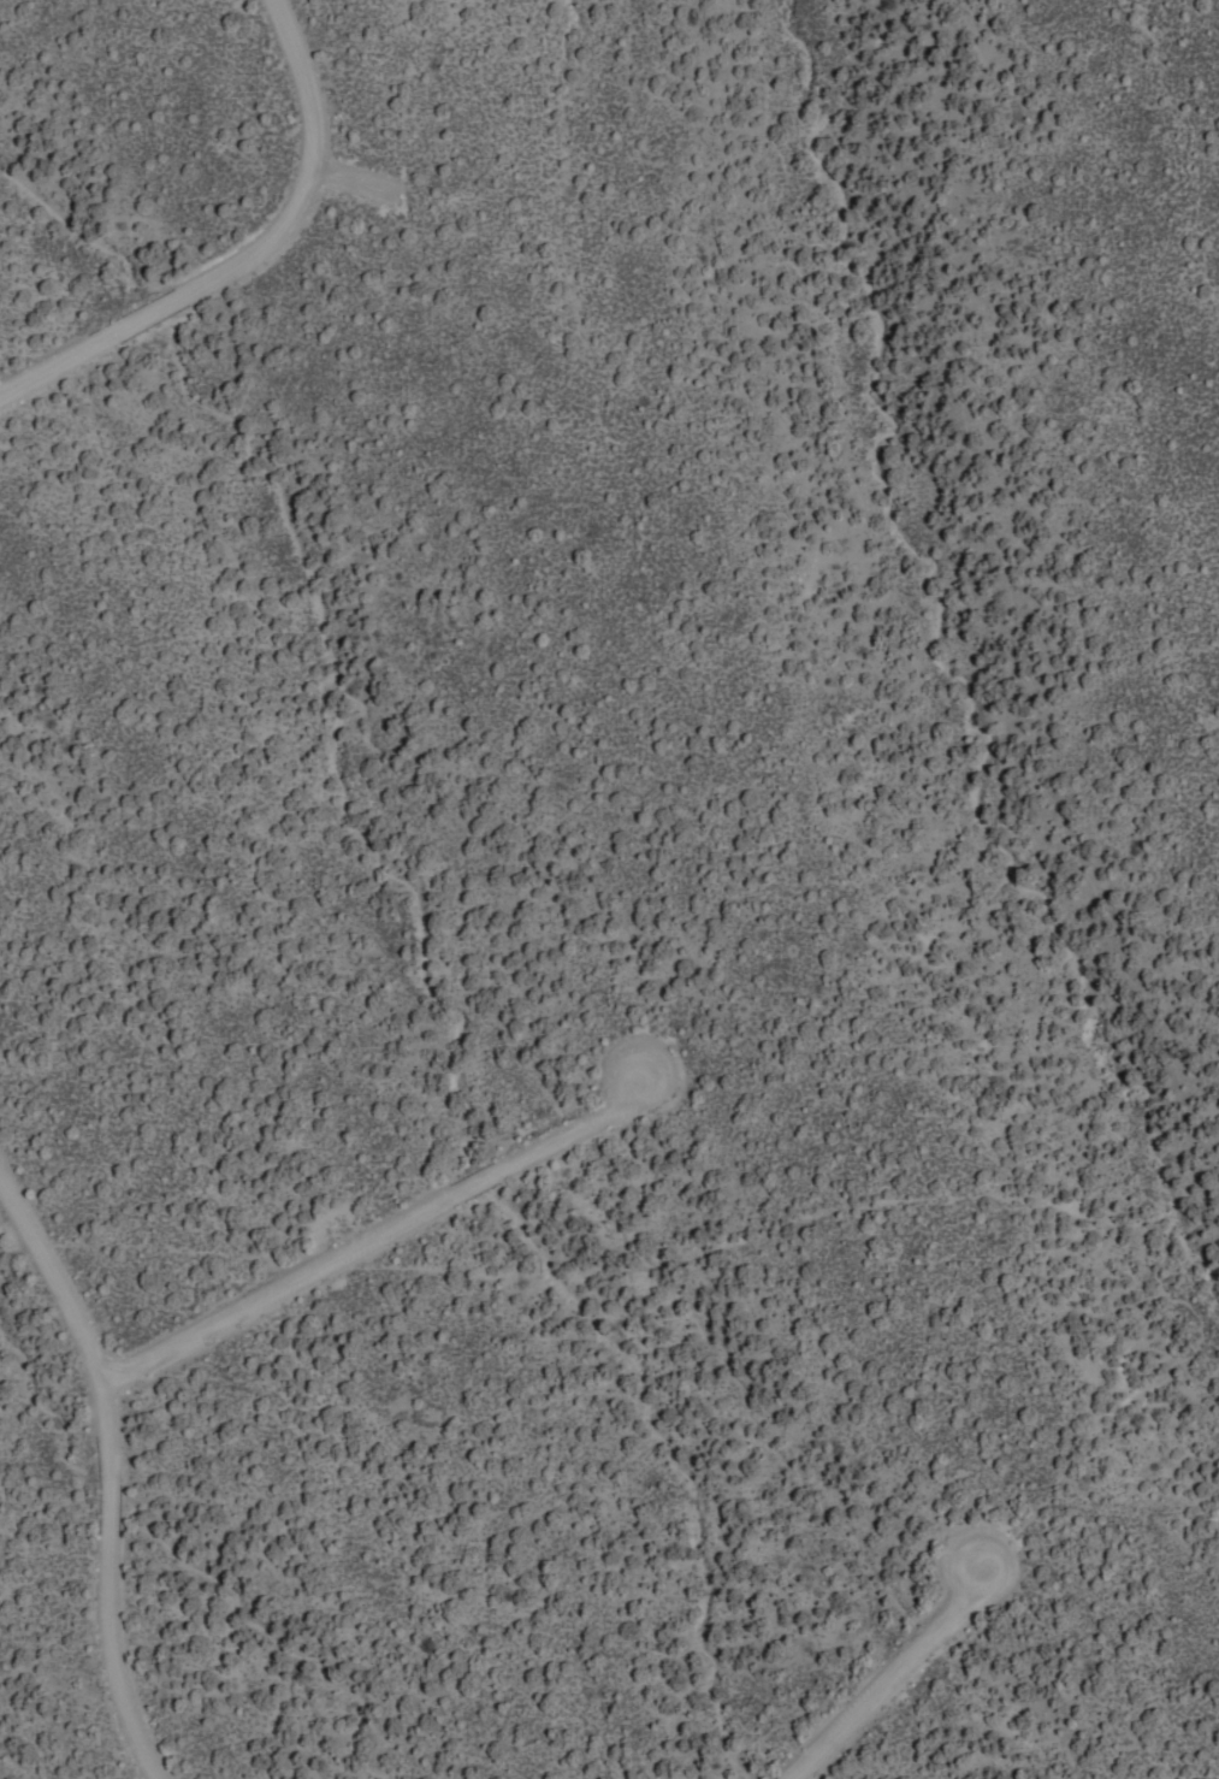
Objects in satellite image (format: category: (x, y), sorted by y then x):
road: (247, 254)
road: (371, 1234)
road: (102, 1474)
road: (881, 1673)

